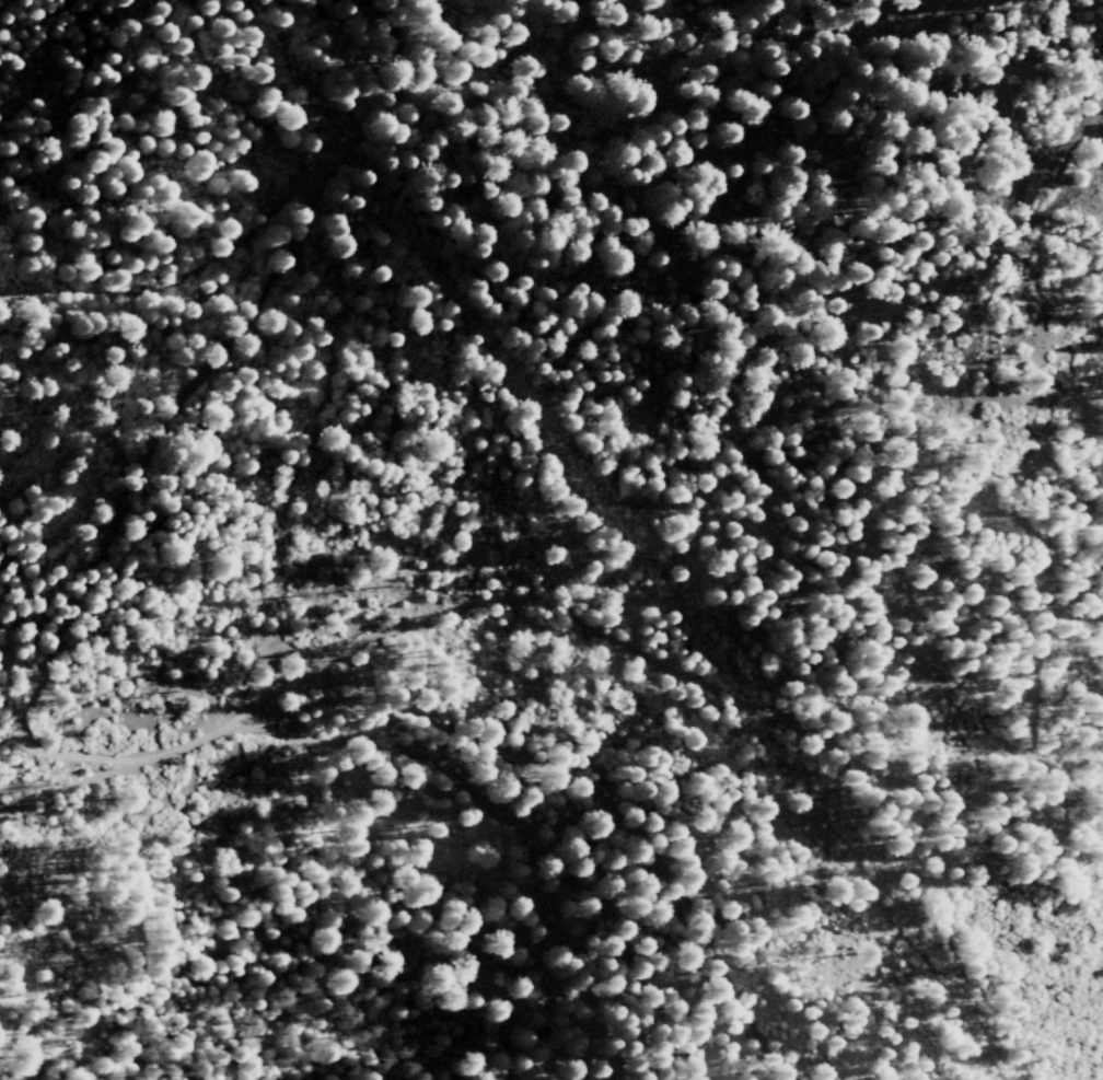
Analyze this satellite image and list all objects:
road: (182, 405)
road: (786, 723)
road: (236, 724)
road: (70, 796)
road: (530, 813)
road: (597, 825)

